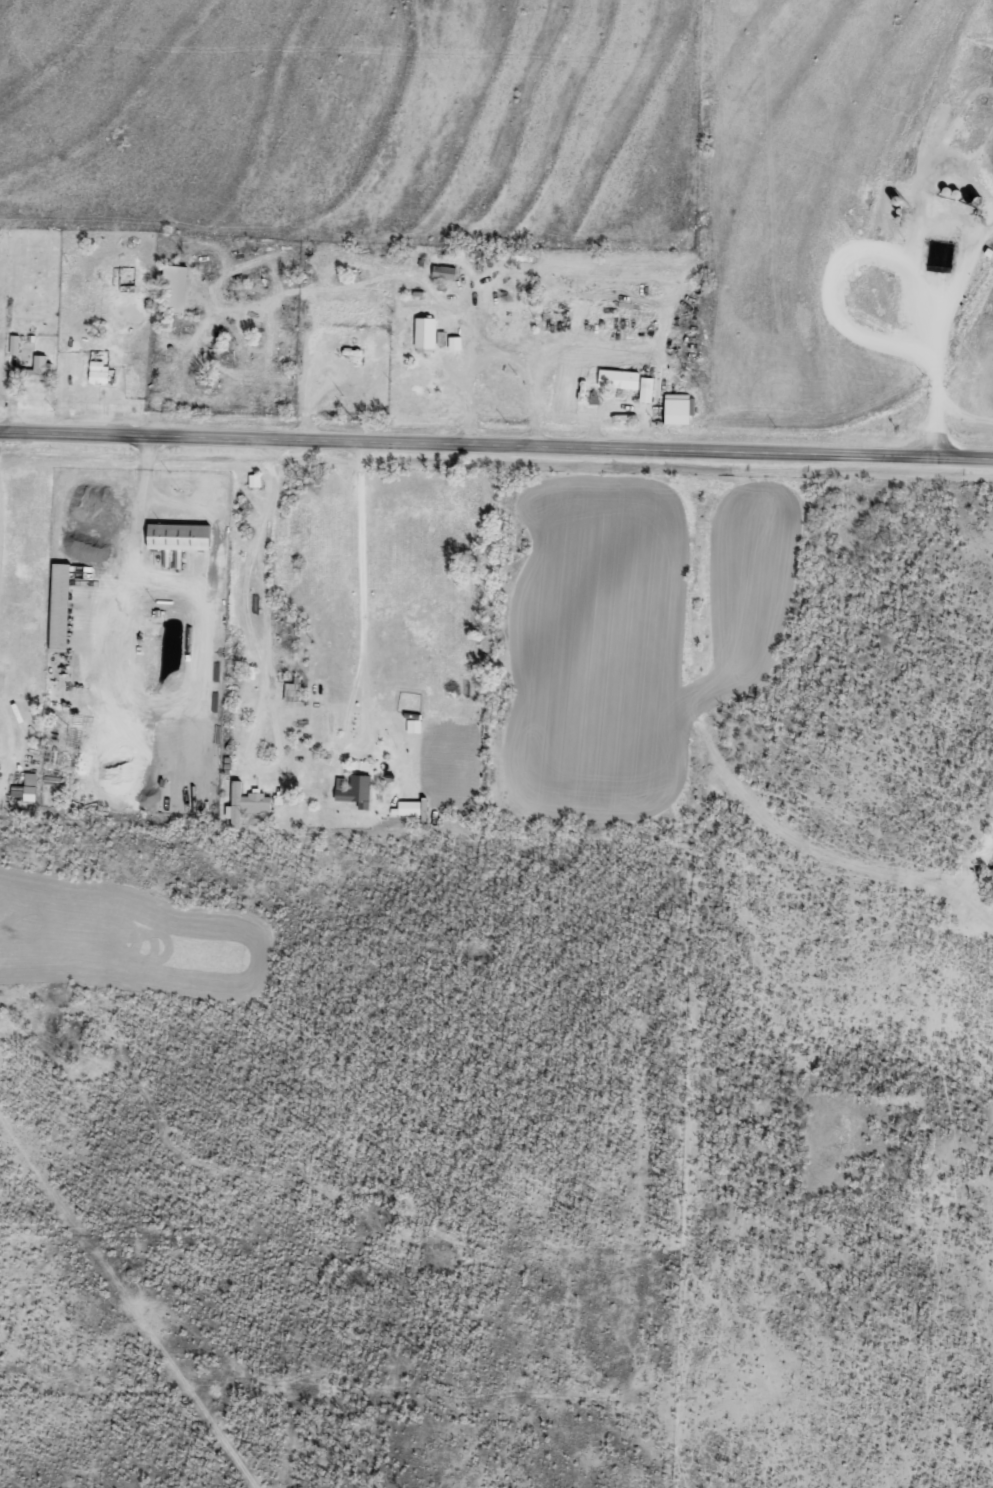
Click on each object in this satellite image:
road: (658, 224)
building: (445, 272)
building: (175, 288)
building: (426, 334)
building: (456, 343)
building: (15, 344)
building: (39, 370)
building: (99, 371)
building: (620, 379)
building: (206, 381)
building: (657, 387)
building: (647, 389)
building: (680, 408)
road: (496, 444)
building: (255, 480)
building: (180, 537)
road: (943, 575)
building: (61, 607)
building: (292, 692)
building: (27, 788)
building: (355, 790)
building: (246, 804)
building: (410, 808)

